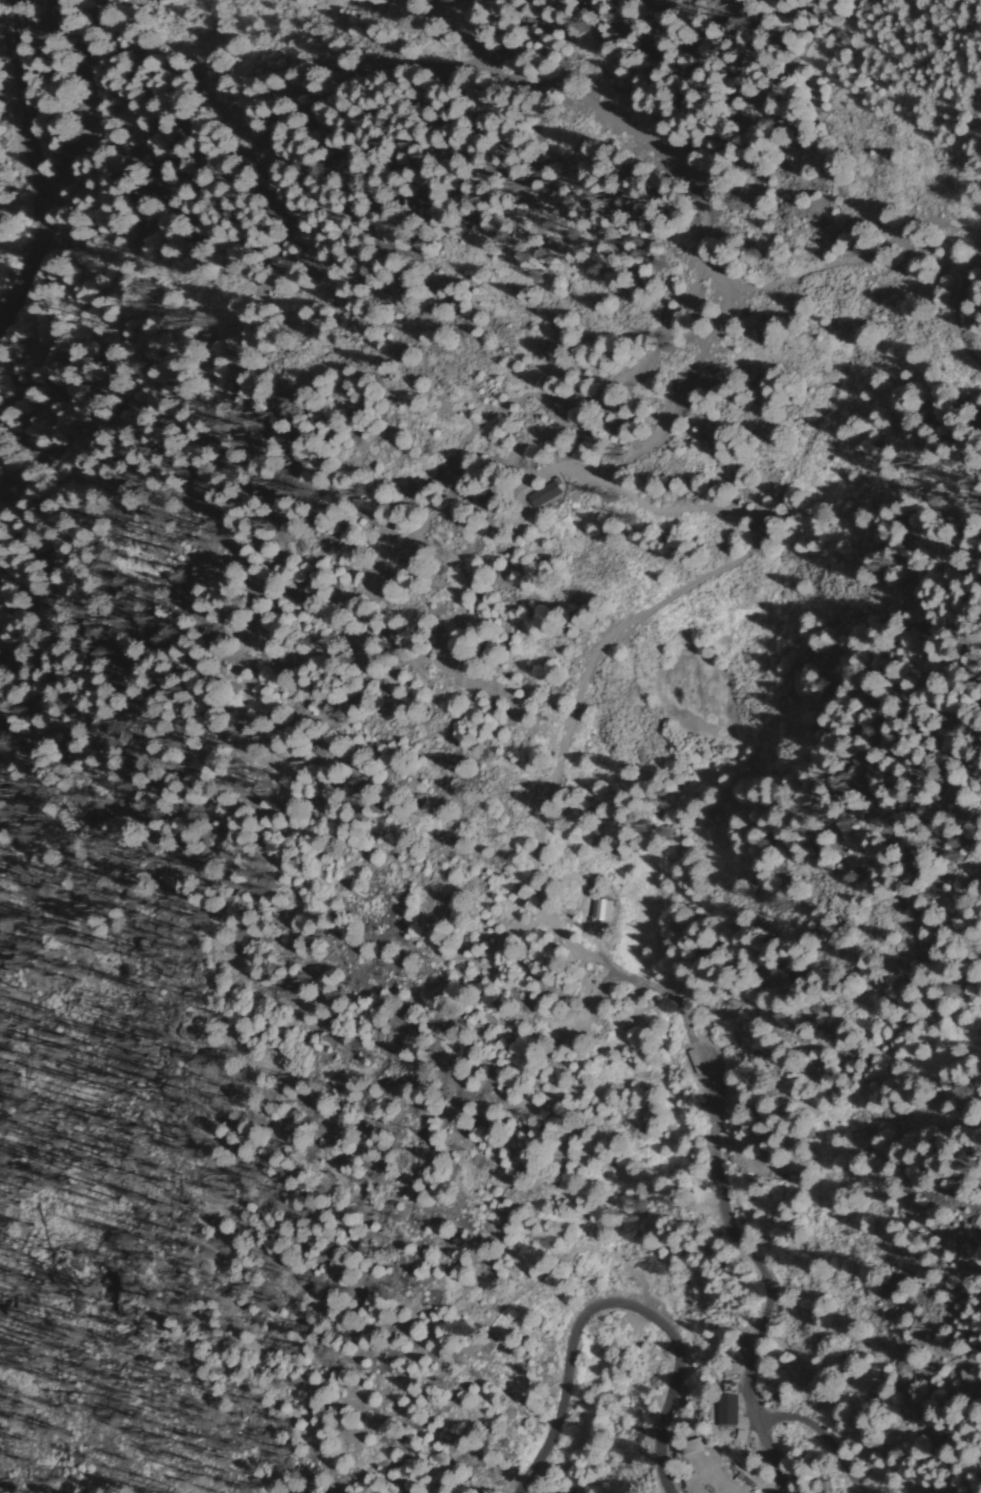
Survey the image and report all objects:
road: (90, 113)
road: (34, 162)
building: (544, 495)
building: (728, 1409)
building: (694, 1446)

